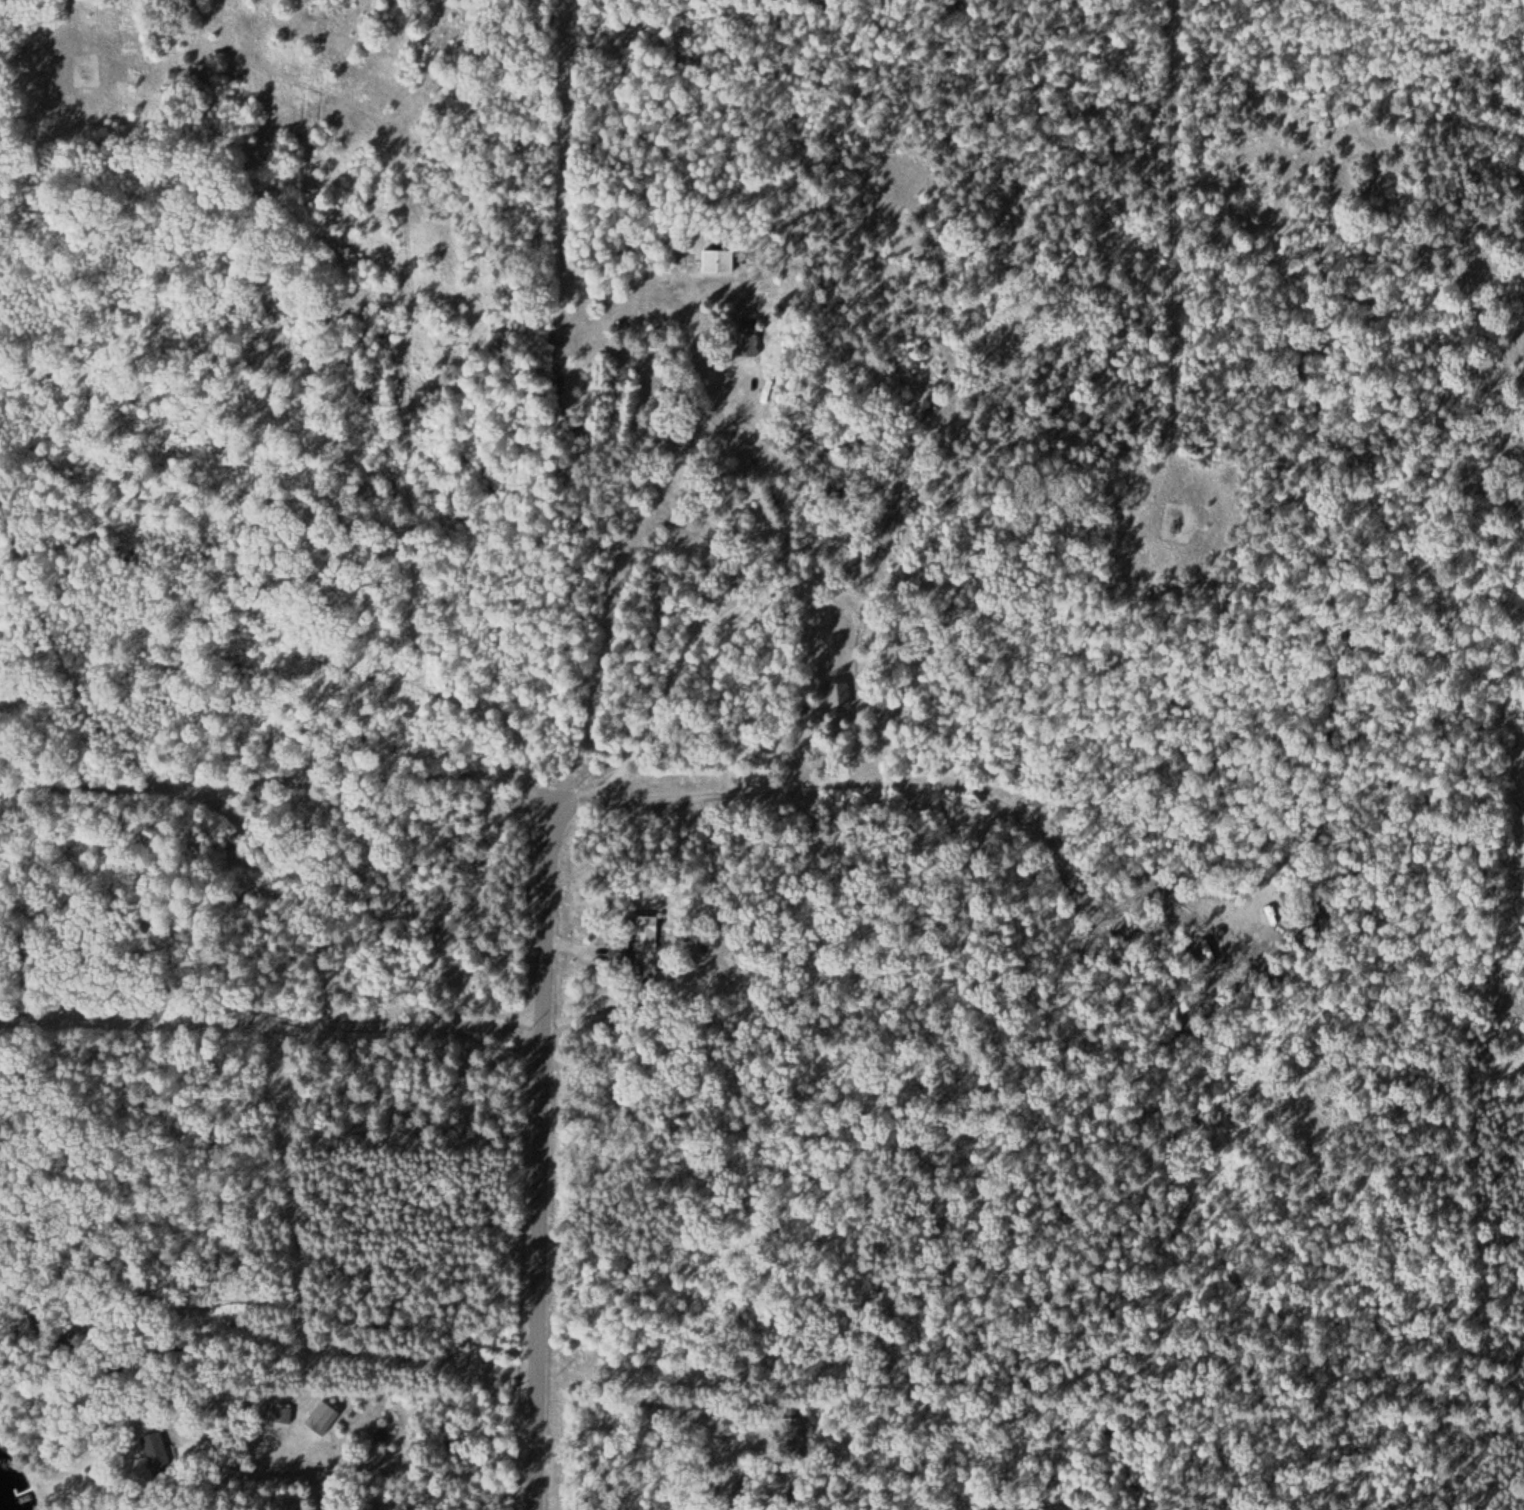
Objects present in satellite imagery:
road: (43, 35)
road: (1175, 245)
building: (717, 264)
building: (745, 342)
petroleum well: (1175, 528)
building: (839, 696)
road: (485, 789)
building: (645, 931)
building: (618, 954)
road: (354, 1007)
road: (543, 1158)
building: (281, 1417)
building: (322, 1420)
building: (790, 1436)
road: (294, 1449)

